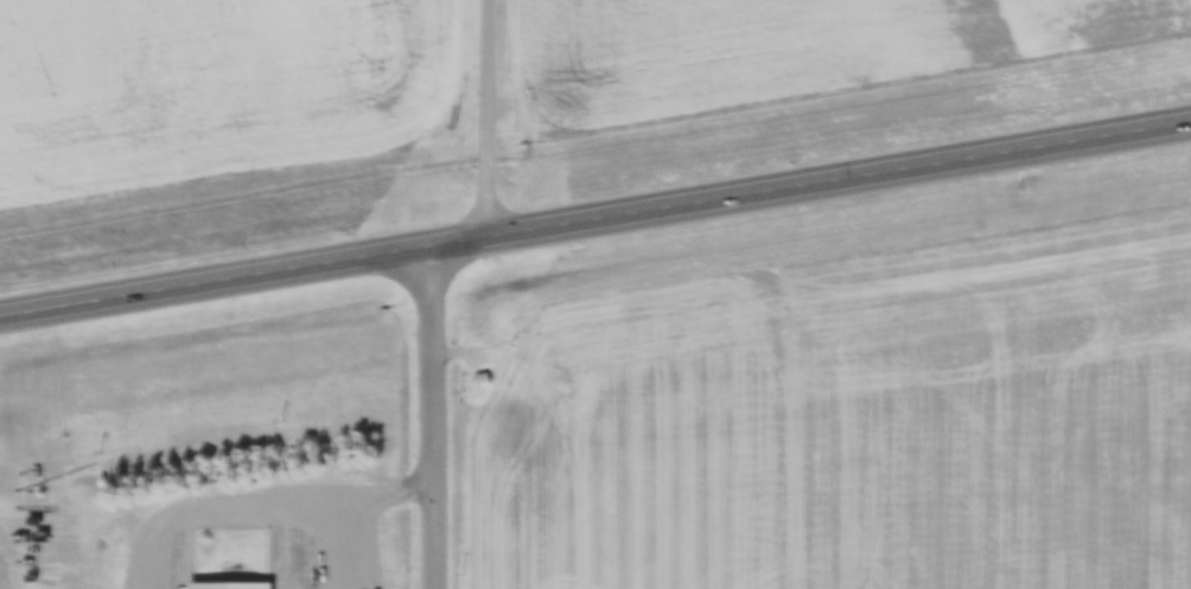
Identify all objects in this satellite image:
road: (594, 216)
road: (429, 416)
building: (229, 585)

